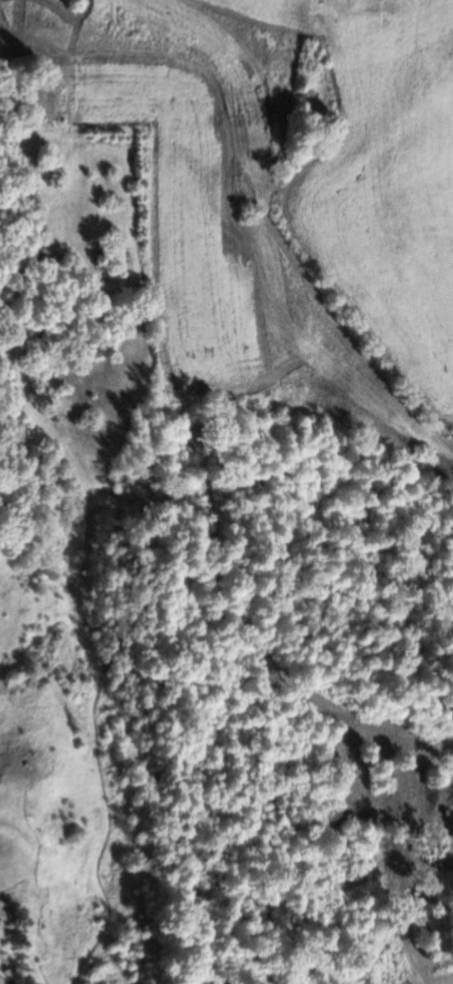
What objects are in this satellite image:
building: (1, 920)

